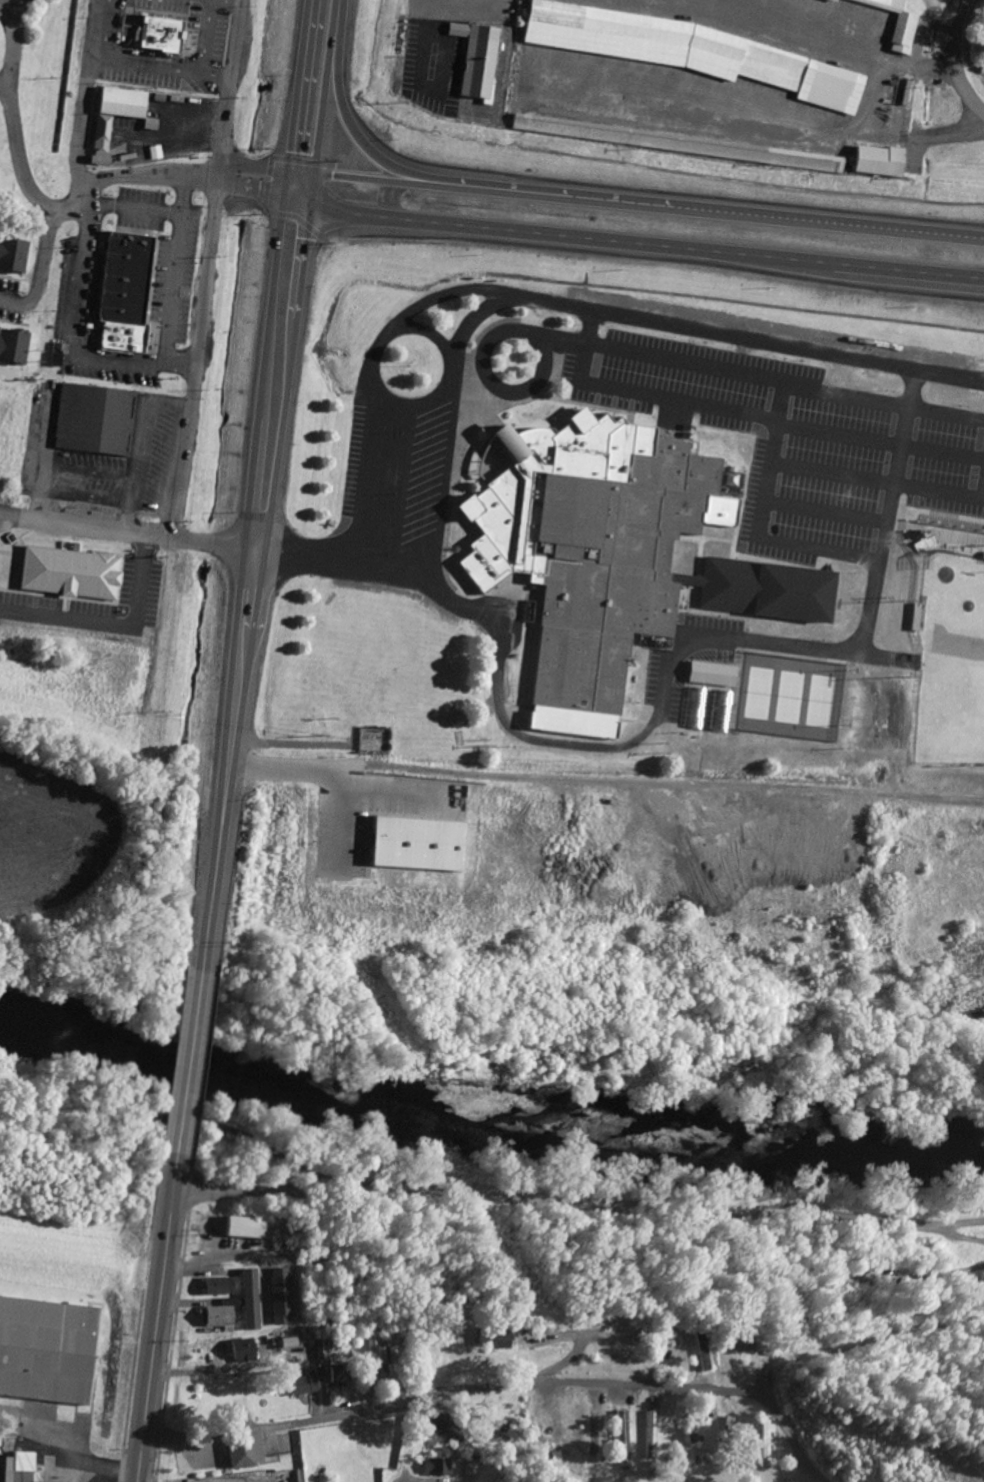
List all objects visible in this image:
building: (832, 0)
road: (225, 2)
building: (894, 24)
building: (160, 33)
building: (573, 34)
road: (206, 37)
road: (424, 41)
road: (853, 41)
road: (955, 58)
road: (98, 59)
building: (476, 60)
road: (137, 65)
building: (770, 71)
road: (303, 85)
road: (229, 86)
road: (328, 87)
road: (85, 99)
road: (10, 114)
road: (132, 120)
building: (103, 137)
road: (373, 144)
building: (813, 162)
building: (875, 162)
road: (252, 166)
traffic signals: (288, 170)
traffic signals: (317, 175)
road: (144, 176)
road: (285, 186)
road: (249, 190)
road: (316, 191)
road: (31, 193)
traffic signals: (283, 203)
road: (635, 203)
traffic signals: (315, 208)
road: (134, 209)
parking lot: (141, 209)
road: (633, 245)
building: (127, 252)
building: (12, 253)
road: (40, 270)
parking lot: (173, 273)
parking lot: (75, 289)
road: (444, 294)
road: (517, 295)
building: (121, 298)
building: (121, 338)
building: (13, 345)
road: (180, 357)
road: (373, 357)
road: (196, 358)
road: (681, 361)
road: (134, 365)
parking lot: (110, 369)
road: (264, 378)
road: (292, 383)
road: (492, 384)
parking lot: (708, 387)
road: (705, 405)
building: (92, 418)
building: (938, 420)
building: (963, 426)
building: (980, 432)
road: (355, 462)
parking lot: (396, 482)
park: (941, 486)
park: (971, 491)
road: (752, 499)
road: (128, 535)
building: (586, 551)
building: (928, 552)
building: (982, 554)
building: (904, 568)
building: (66, 574)
building: (764, 589)
building: (914, 616)
park: (951, 662)
building: (455, 719)
road: (549, 742)
road: (227, 758)
road: (321, 777)
building: (413, 846)
road: (189, 1056)
river: (487, 1107)
road: (578, 1200)
building: (239, 1228)
building: (217, 1287)
road: (287, 1288)
road: (446, 1294)
building: (280, 1297)
building: (248, 1300)
road: (158, 1315)
building: (218, 1319)
building: (490, 1339)
building: (47, 1350)
building: (241, 1351)
building: (702, 1351)
building: (380, 1354)
building: (341, 1375)
building: (302, 1385)
road: (477, 1390)
building: (651, 1435)
building: (766, 1435)
building: (623, 1437)
building: (242, 1451)
road: (62, 1455)
road: (810, 1460)
building: (17, 1468)
building: (436, 1468)
building: (472, 1469)
road: (104, 1474)

